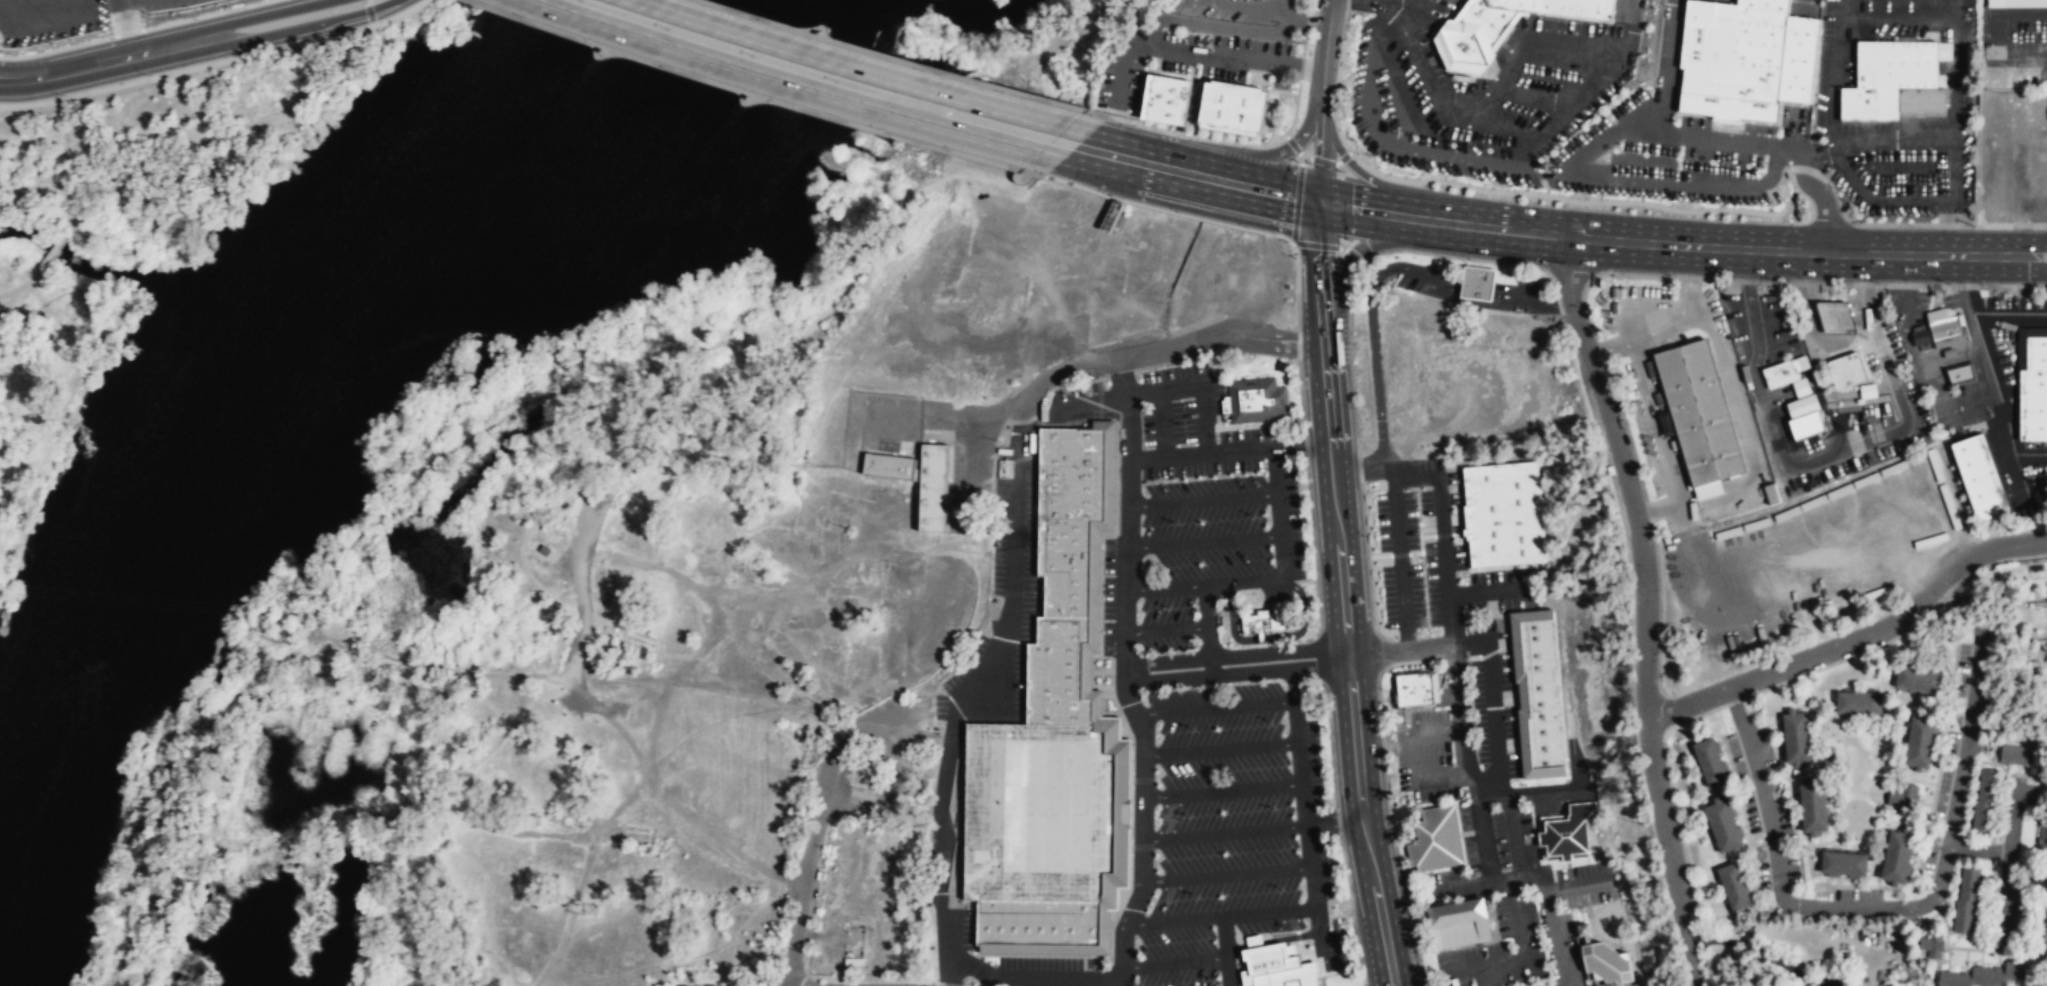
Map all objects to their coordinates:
road: (1398, 0)
street lamp: (580, 1)
road: (1310, 3)
building: (2017, 4)
road: (1346, 5)
road: (1805, 5)
road: (1279, 10)
road: (1840, 10)
road: (269, 13)
road: (368, 13)
road: (206, 15)
street lamp: (520, 16)
street lamp: (184, 17)
road: (1308, 20)
road: (1632, 20)
road: (1909, 21)
road: (1519, 23)
road: (303, 25)
building: (1504, 25)
street lamp: (666, 29)
road: (1955, 30)
road: (129, 33)
street lamp: (1201, 33)
street lamp: (327, 35)
road: (1526, 36)
street lamp: (96, 37)
road: (1996, 38)
road: (1304, 44)
street lamp: (1295, 46)
road: (1506, 46)
road: (58, 48)
road: (798, 48)
street lamp: (11, 54)
road: (1443, 54)
street lamp: (239, 55)
street lamp: (753, 57)
building: (1747, 58)
road: (903, 60)
road: (105, 61)
road: (214, 62)
road: (1956, 62)
road: (740, 66)
road: (1669, 66)
road: (1301, 68)
road: (1455, 68)
road: (1463, 69)
road: (1497, 73)
street lamp: (151, 75)
building: (2010, 76)
building: (1894, 78)
street lamp: (837, 82)
road: (1832, 85)
road: (753, 93)
road: (1557, 93)
street lamp: (64, 95)
building: (1986, 95)
road: (1322, 100)
building: (2020, 100)
building: (1166, 101)
road: (1295, 108)
building: (1235, 110)
road: (1643, 112)
road: (1956, 113)
road: (1715, 116)
road: (1336, 120)
road: (1498, 123)
road: (1010, 129)
street lamp: (879, 130)
road: (206, 138)
road: (1197, 138)
road: (1468, 139)
road: (1892, 139)
road: (1774, 145)
road: (1817, 151)
road: (1264, 157)
road: (1327, 163)
road: (1528, 166)
road: (1356, 170)
road: (1196, 174)
road: (1436, 176)
road: (1851, 177)
road: (1678, 180)
road: (1994, 185)
road: (1298, 187)
road: (1939, 196)
road: (1821, 200)
traffic signals: (1317, 201)
road: (1623, 202)
road: (1953, 202)
road: (1167, 211)
park: (130, 233)
road: (1952, 234)
road: (2012, 241)
road: (1647, 242)
road: (1329, 245)
road: (53, 249)
road: (1360, 250)
road: (1465, 259)
street lamp: (1470, 259)
road: (2012, 267)
street lamp: (1670, 275)
building: (1478, 283)
road: (23, 284)
road: (1685, 304)
road: (2010, 312)
building: (1837, 318)
street lamp: (1596, 326)
building: (1920, 337)
road: (696, 346)
road: (1836, 346)
road: (1614, 347)
road: (1167, 348)
road: (1645, 358)
road: (1991, 369)
building: (1847, 370)
building: (1785, 372)
building: (1960, 374)
road: (1122, 375)
road: (1168, 384)
building: (1801, 387)
road: (1763, 389)
building: (2033, 391)
building: (1255, 402)
road: (1095, 403)
river: (226, 410)
building: (1701, 413)
road: (1163, 421)
road: (1743, 422)
road: (1825, 423)
road: (1670, 439)
building: (1872, 441)
road: (1306, 442)
road: (1204, 452)
building: (888, 465)
building: (1979, 478)
street lamp: (1644, 482)
building: (932, 487)
road: (1204, 499)
road: (1661, 509)
building: (1504, 513)
building: (1067, 514)
road: (1206, 541)
road: (1442, 553)
road: (1266, 578)
road: (1169, 585)
road: (1344, 594)
parking lot: (1005, 601)
road: (1647, 608)
power tower: (325, 616)
building: (1260, 622)
road: (1164, 630)
road: (1855, 639)
road: (1399, 643)
power tower: (659, 645)
parking lot: (914, 645)
road: (1338, 653)
road: (1226, 656)
street lamp: (1856, 658)
building: (1056, 672)
road: (1230, 672)
road: (481, 675)
building: (1917, 678)
building: (1416, 691)
building: (1538, 694)
street lamp: (1755, 696)
building: (1857, 701)
road: (1454, 705)
parking lot: (1197, 707)
road: (1217, 707)
road: (1141, 722)
building: (1794, 736)
building: (1918, 740)
road: (651, 741)
street lamp: (1668, 745)
road: (1223, 747)
building: (2017, 757)
building: (1710, 762)
road: (1224, 789)
building: (1902, 800)
road: (625, 801)
building: (1985, 802)
building: (1811, 805)
building: (1037, 812)
road: (1335, 823)
building: (1724, 826)
road: (813, 831)
road: (1226, 832)
building: (1567, 833)
building: (2042, 836)
building: (1436, 841)
road: (1978, 848)
road: (1309, 850)
building: (1895, 856)
building: (1842, 862)
road: (2008, 862)
road: (1228, 873)
building: (1735, 886)
building: (1966, 900)
road: (1918, 905)
road: (1222, 916)
building: (1036, 923)
building: (1458, 924)
building: (2046, 925)
road: (1553, 932)
building: (1932, 947)
road: (1175, 958)
building: (1605, 961)
road: (1228, 968)
road: (1010, 972)
building: (1989, 976)
building: (1288, 977)
building: (686, 985)
building: (707, 985)
building: (734, 985)

